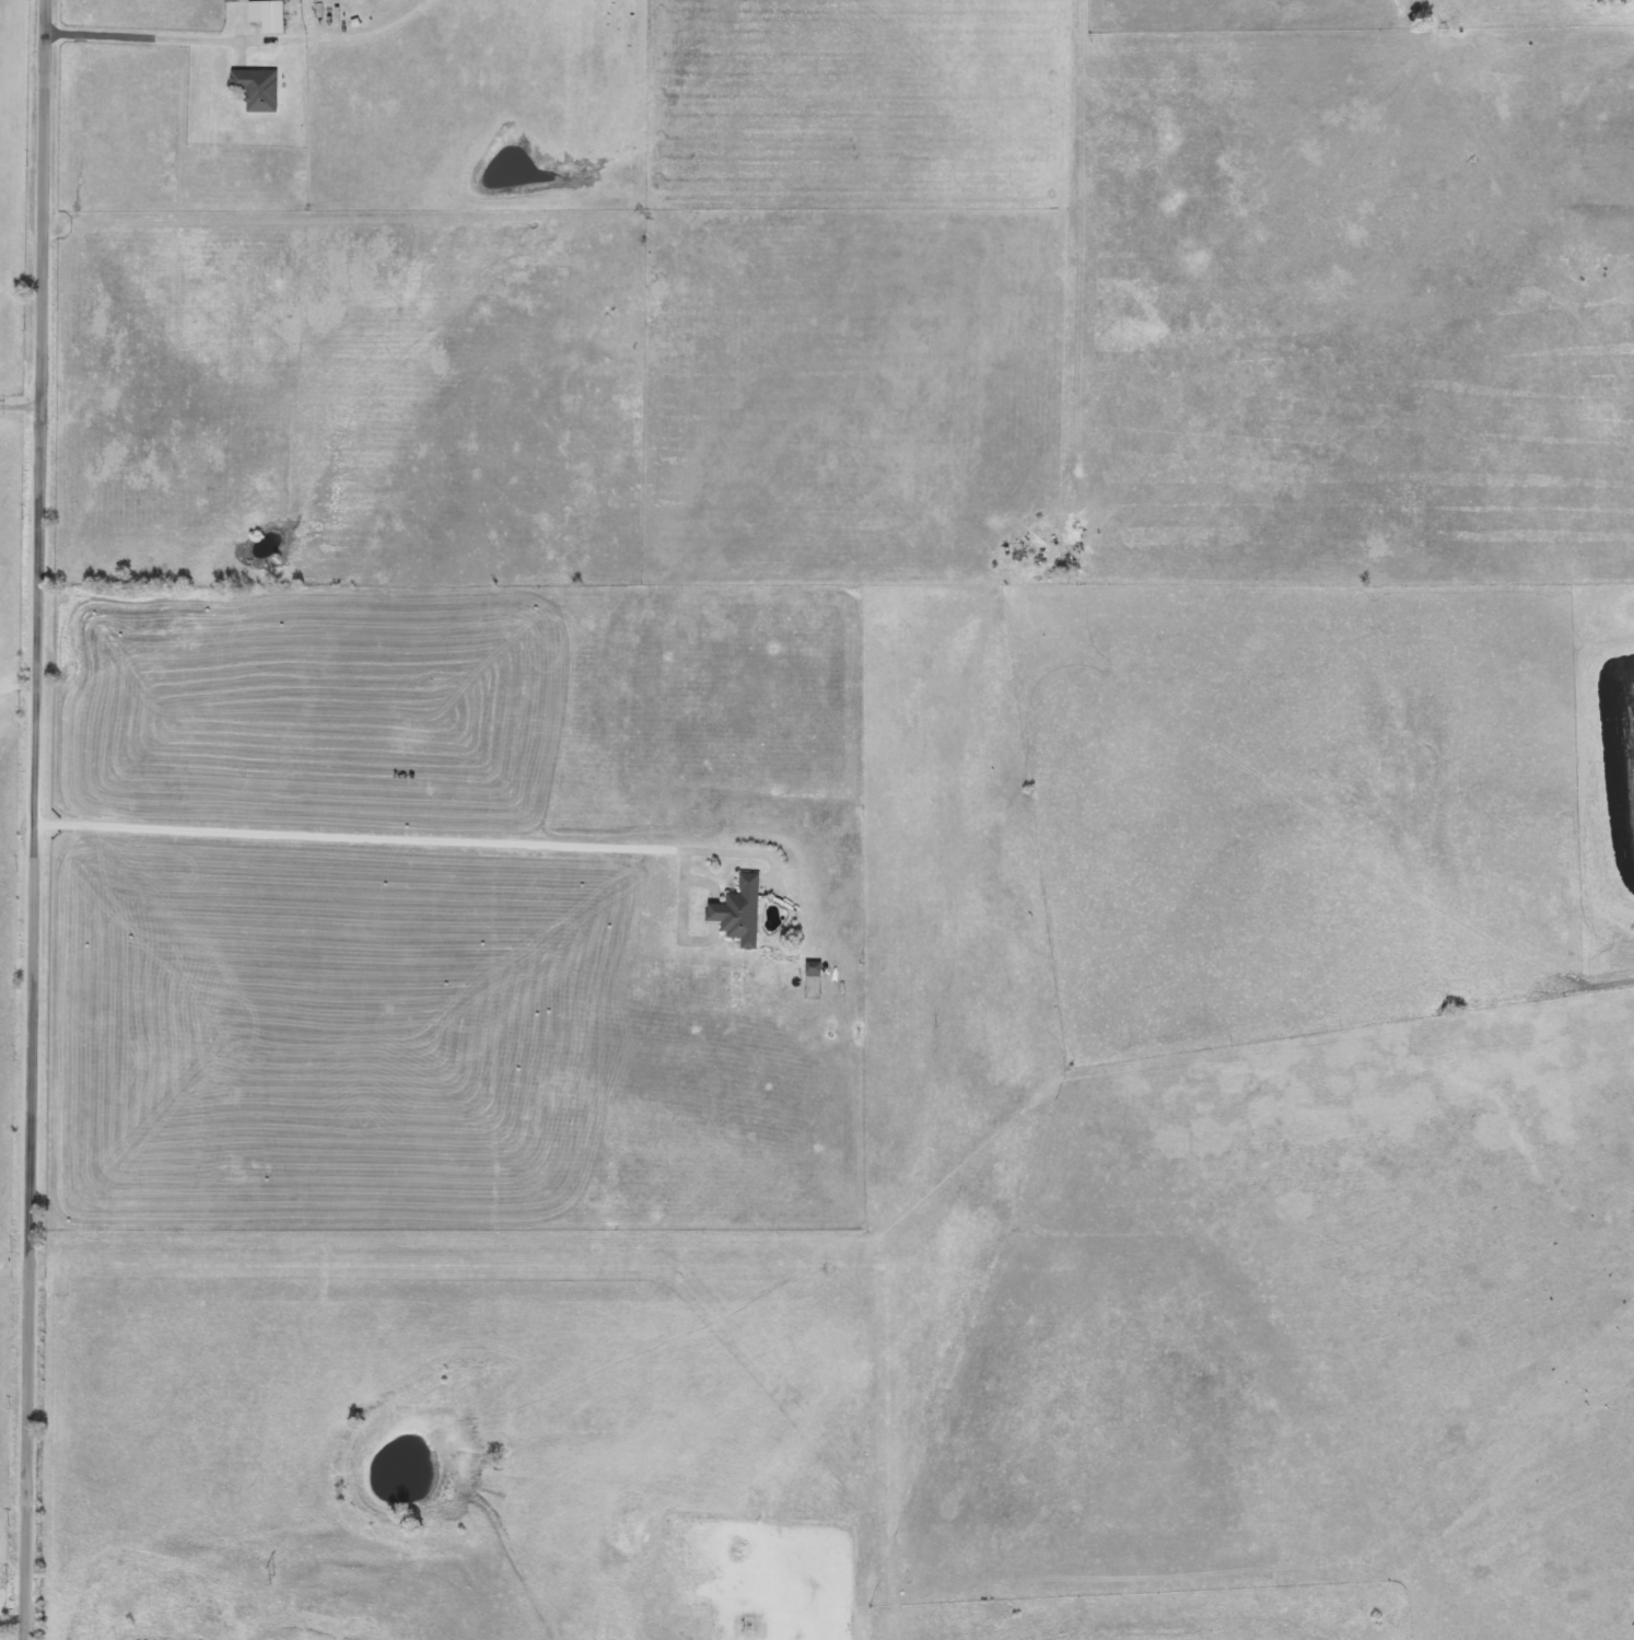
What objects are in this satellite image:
building: (262, 16)
road: (241, 40)
building: (253, 90)
road: (21, 411)
road: (42, 412)
road: (397, 841)
building: (733, 911)
road: (31, 1232)

